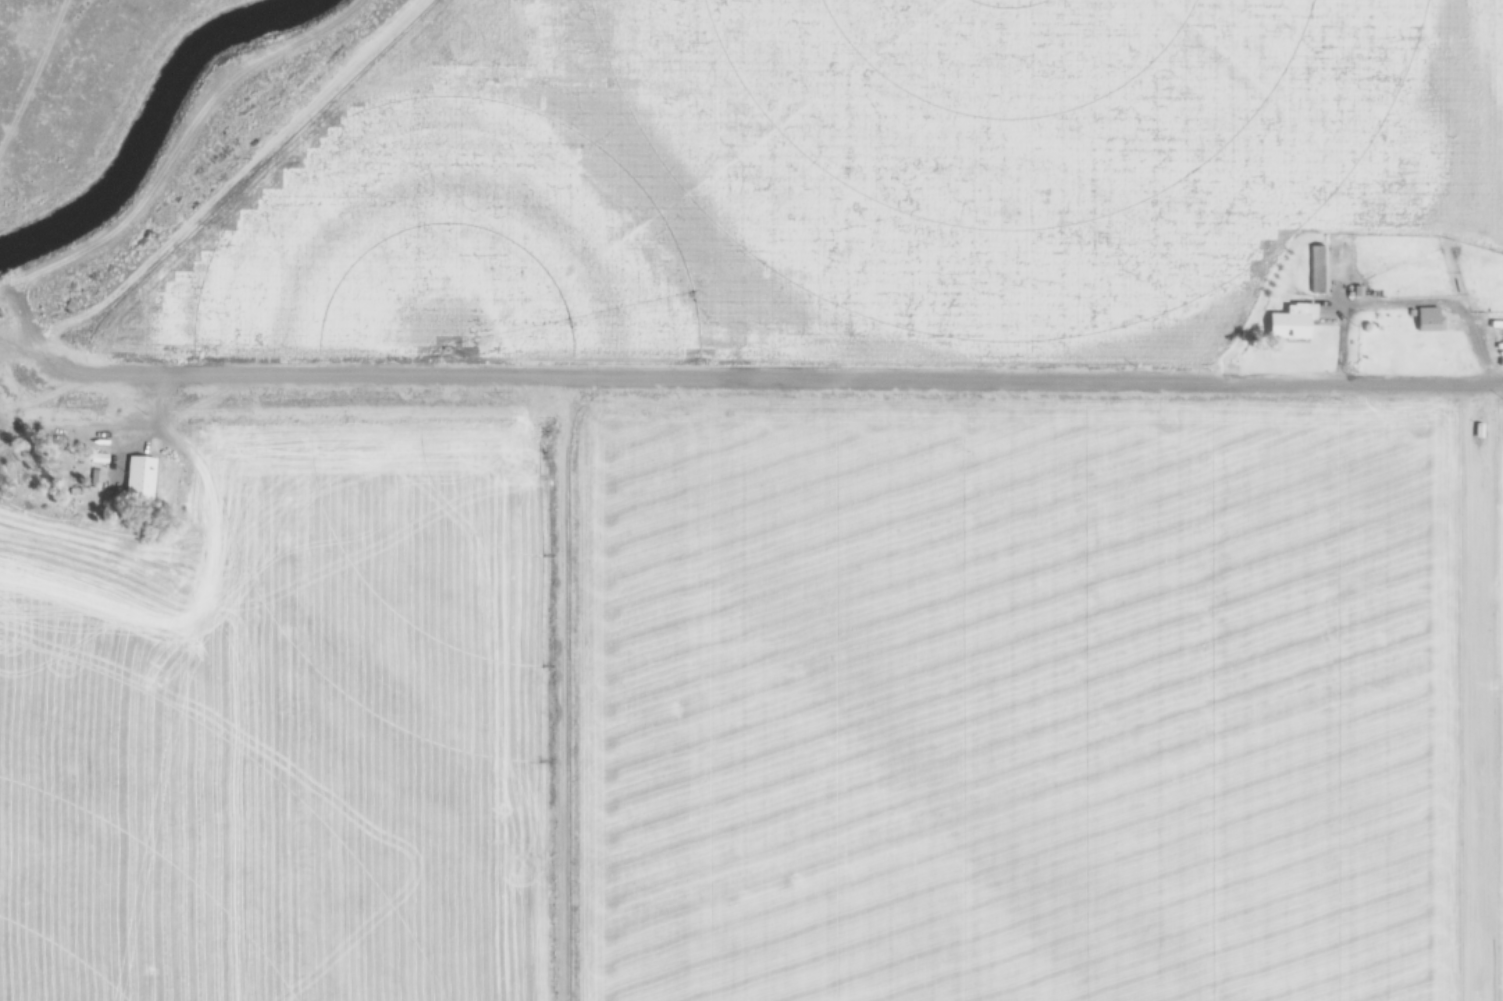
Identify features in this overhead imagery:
road: (70, 16)
road: (37, 79)
road: (118, 108)
road: (175, 159)
road: (229, 180)
building: (1318, 268)
building: (1280, 288)
building: (1358, 291)
road: (1442, 301)
building: (1412, 312)
road: (1342, 316)
building: (1429, 320)
building: (1294, 321)
road: (14, 340)
road: (15, 353)
road: (761, 381)
road: (365, 414)
road: (17, 420)
road: (86, 428)
building: (1479, 430)
building: (101, 457)
building: (144, 476)
road: (1482, 708)

